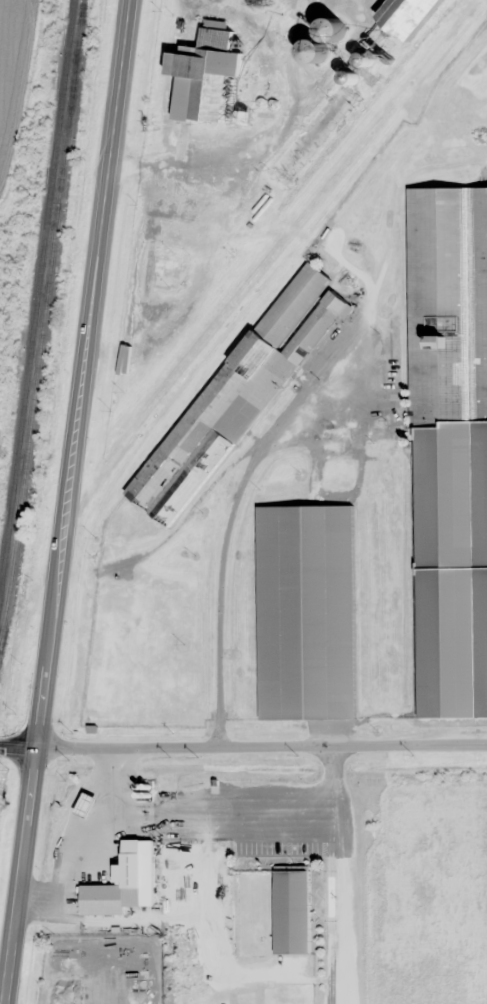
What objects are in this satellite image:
building: (407, 16)
building: (332, 30)
building: (205, 74)
building: (313, 133)
road: (448, 170)
building: (168, 272)
railway: (37, 299)
railway: (44, 317)
road: (84, 374)
building: (239, 395)
building: (450, 450)
road: (199, 506)
road: (224, 594)
building: (306, 613)
road: (19, 746)
road: (262, 747)
road: (21, 876)
building: (123, 882)
building: (291, 912)
building: (72, 961)

